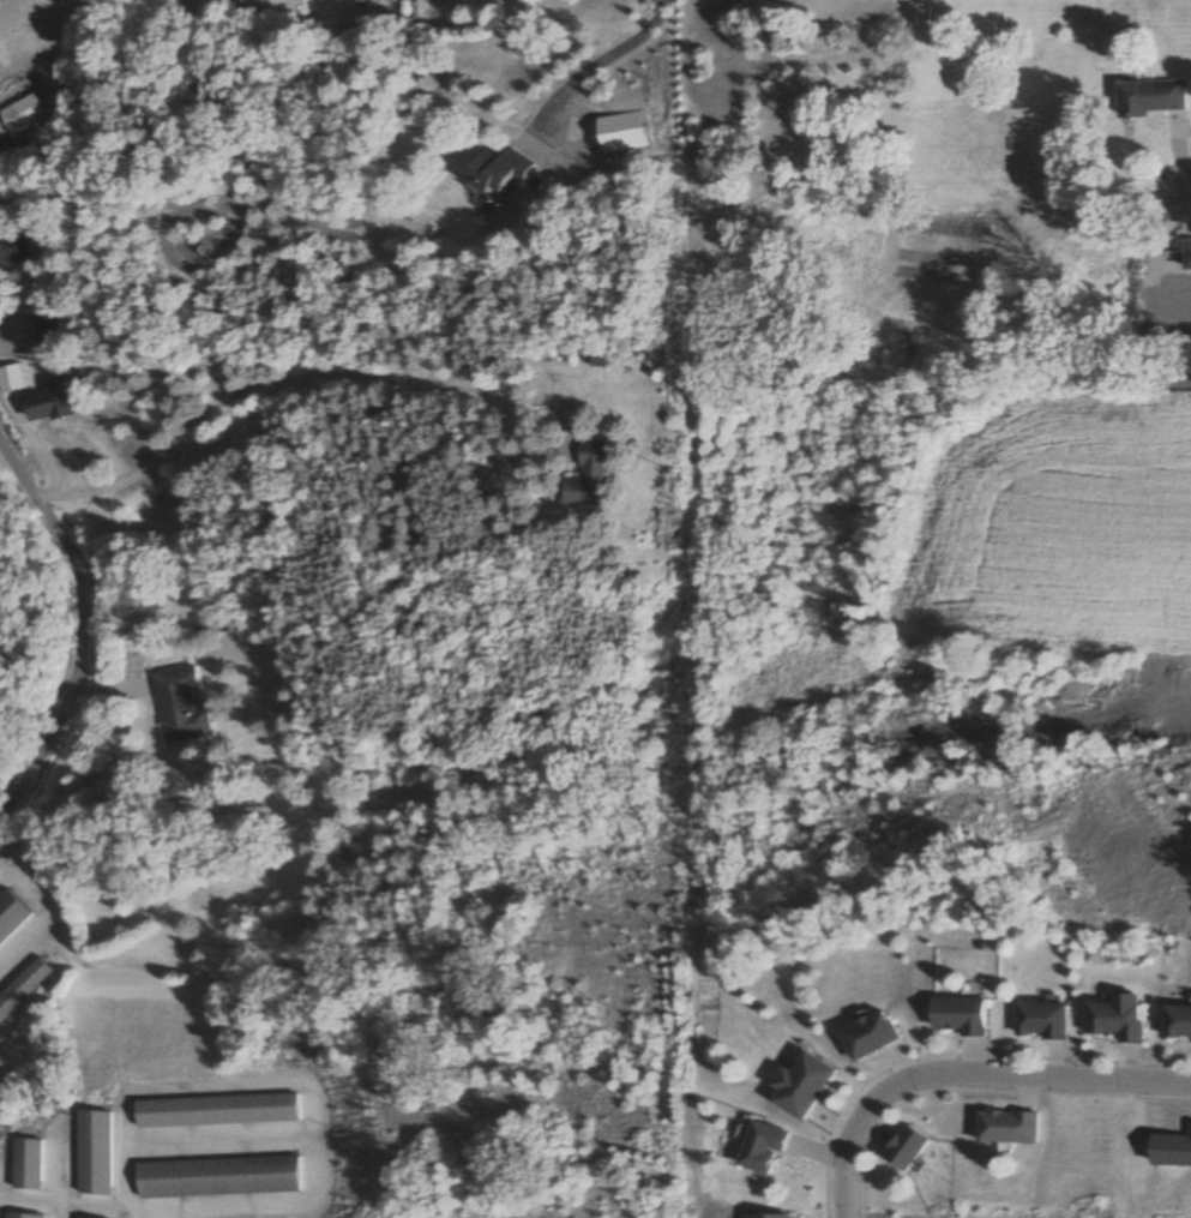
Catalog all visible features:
road: (591, 67)
road: (16, 86)
building: (1149, 97)
building: (28, 113)
building: (497, 170)
building: (12, 252)
building: (44, 323)
road: (302, 368)
building: (12, 378)
building: (48, 402)
building: (584, 478)
crop: (1070, 515)
building: (198, 624)
road: (80, 632)
building: (181, 704)
road: (7, 858)
building: (12, 914)
building: (24, 988)
building: (958, 1016)
building: (1117, 1018)
building: (1040, 1021)
building: (1178, 1024)
building: (868, 1037)
road: (963, 1073)
building: (800, 1087)
building: (219, 1111)
building: (1005, 1128)
building: (759, 1148)
building: (903, 1150)
building: (97, 1153)
building: (26, 1165)
building: (219, 1178)
building: (19, 1217)
building: (766, 1217)

